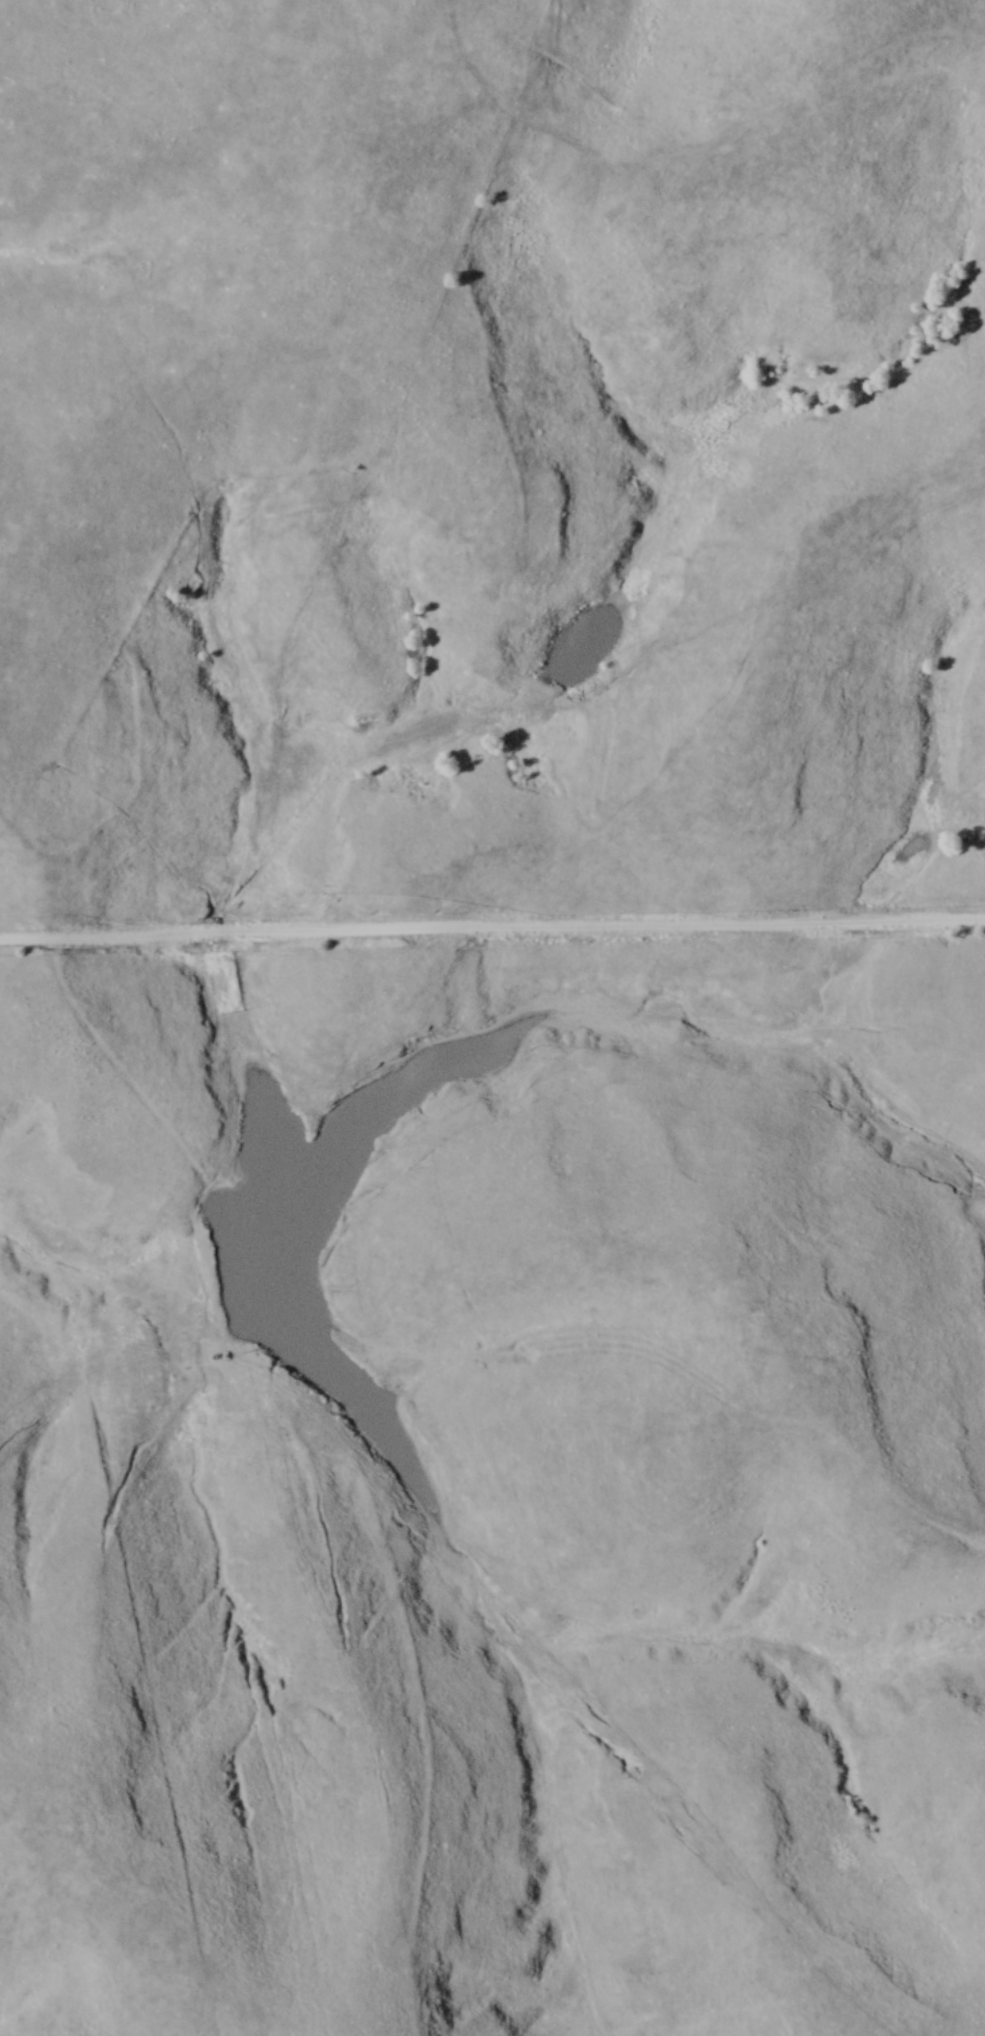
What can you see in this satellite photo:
road: (492, 926)

